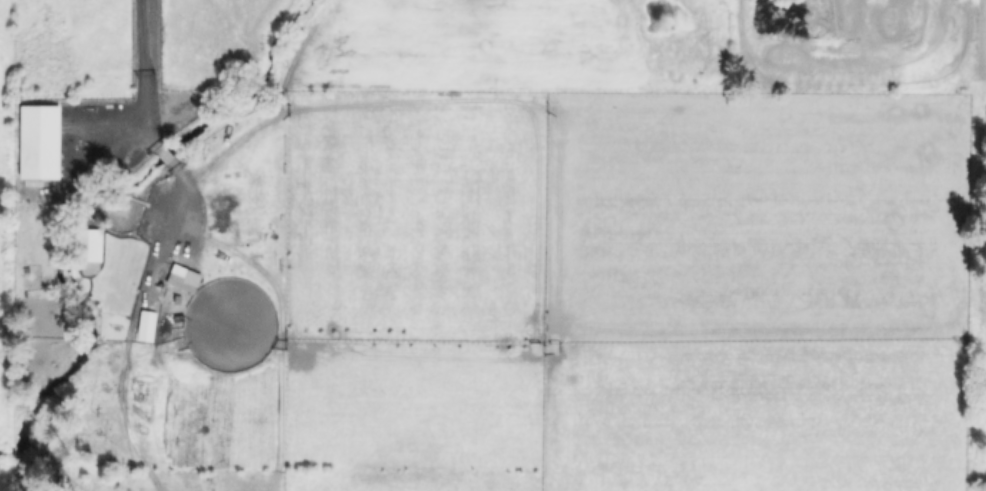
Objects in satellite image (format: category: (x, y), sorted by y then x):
crop: (56, 59)
road: (139, 74)
building: (111, 112)
building: (38, 141)
building: (88, 244)
building: (185, 279)
building: (145, 325)

